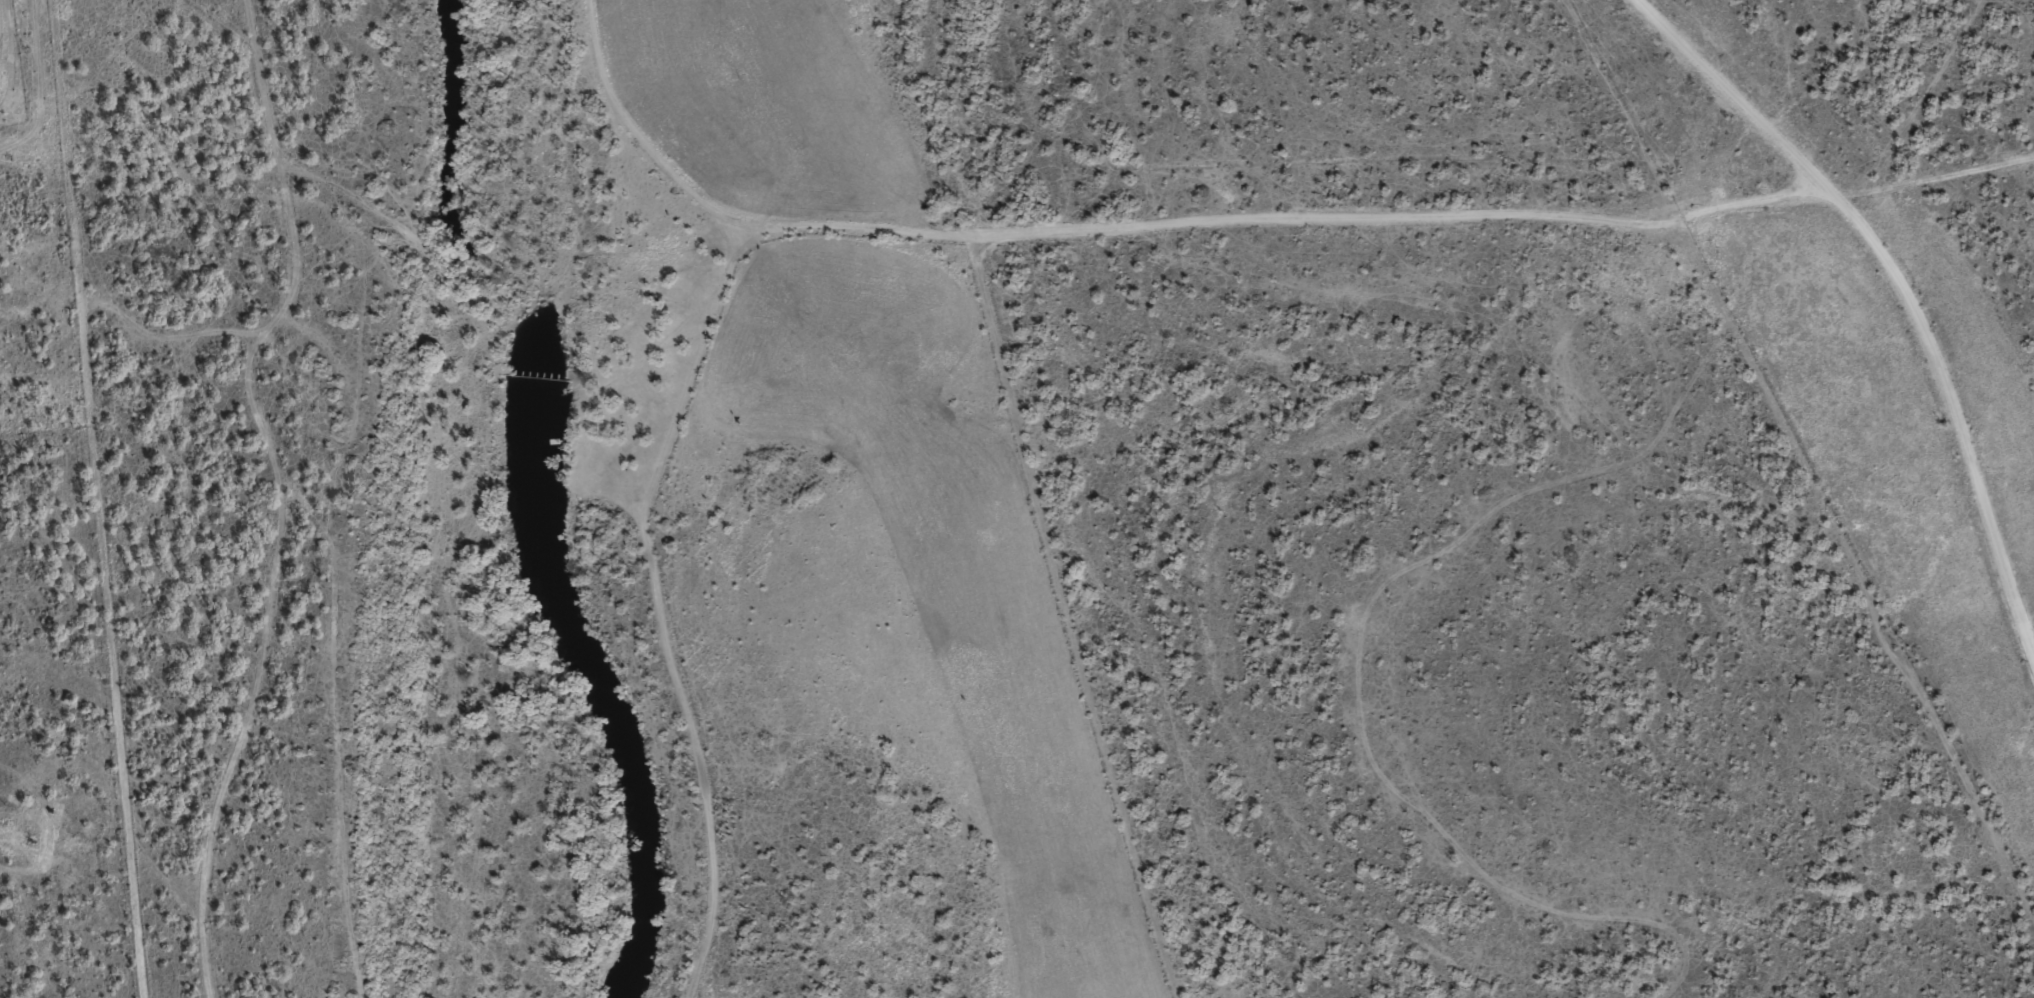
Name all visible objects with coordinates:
road: (1107, 233)
road: (1891, 297)
road: (284, 500)
road: (664, 596)

